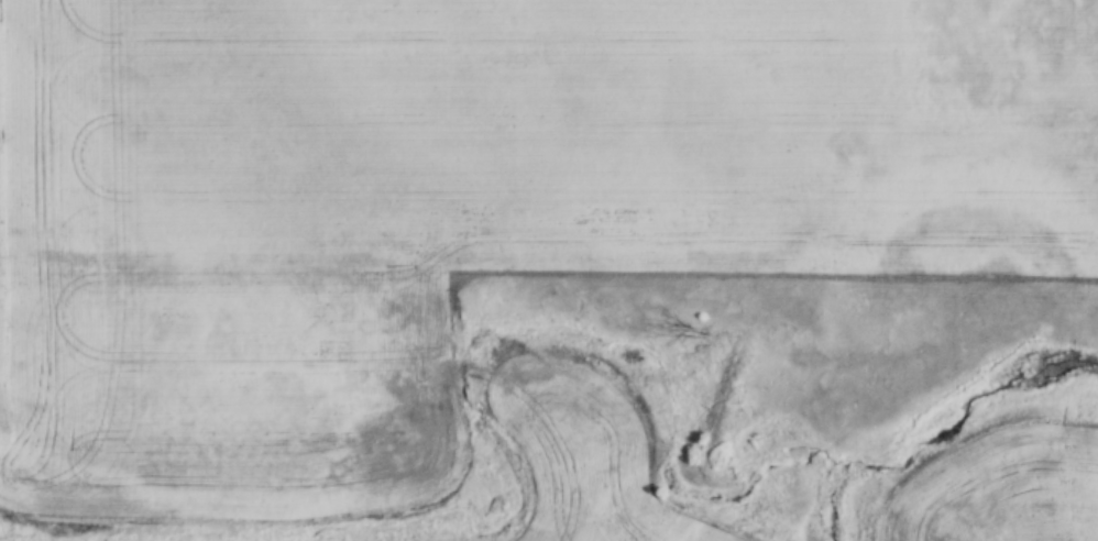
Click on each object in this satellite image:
crop: (552, 139)

